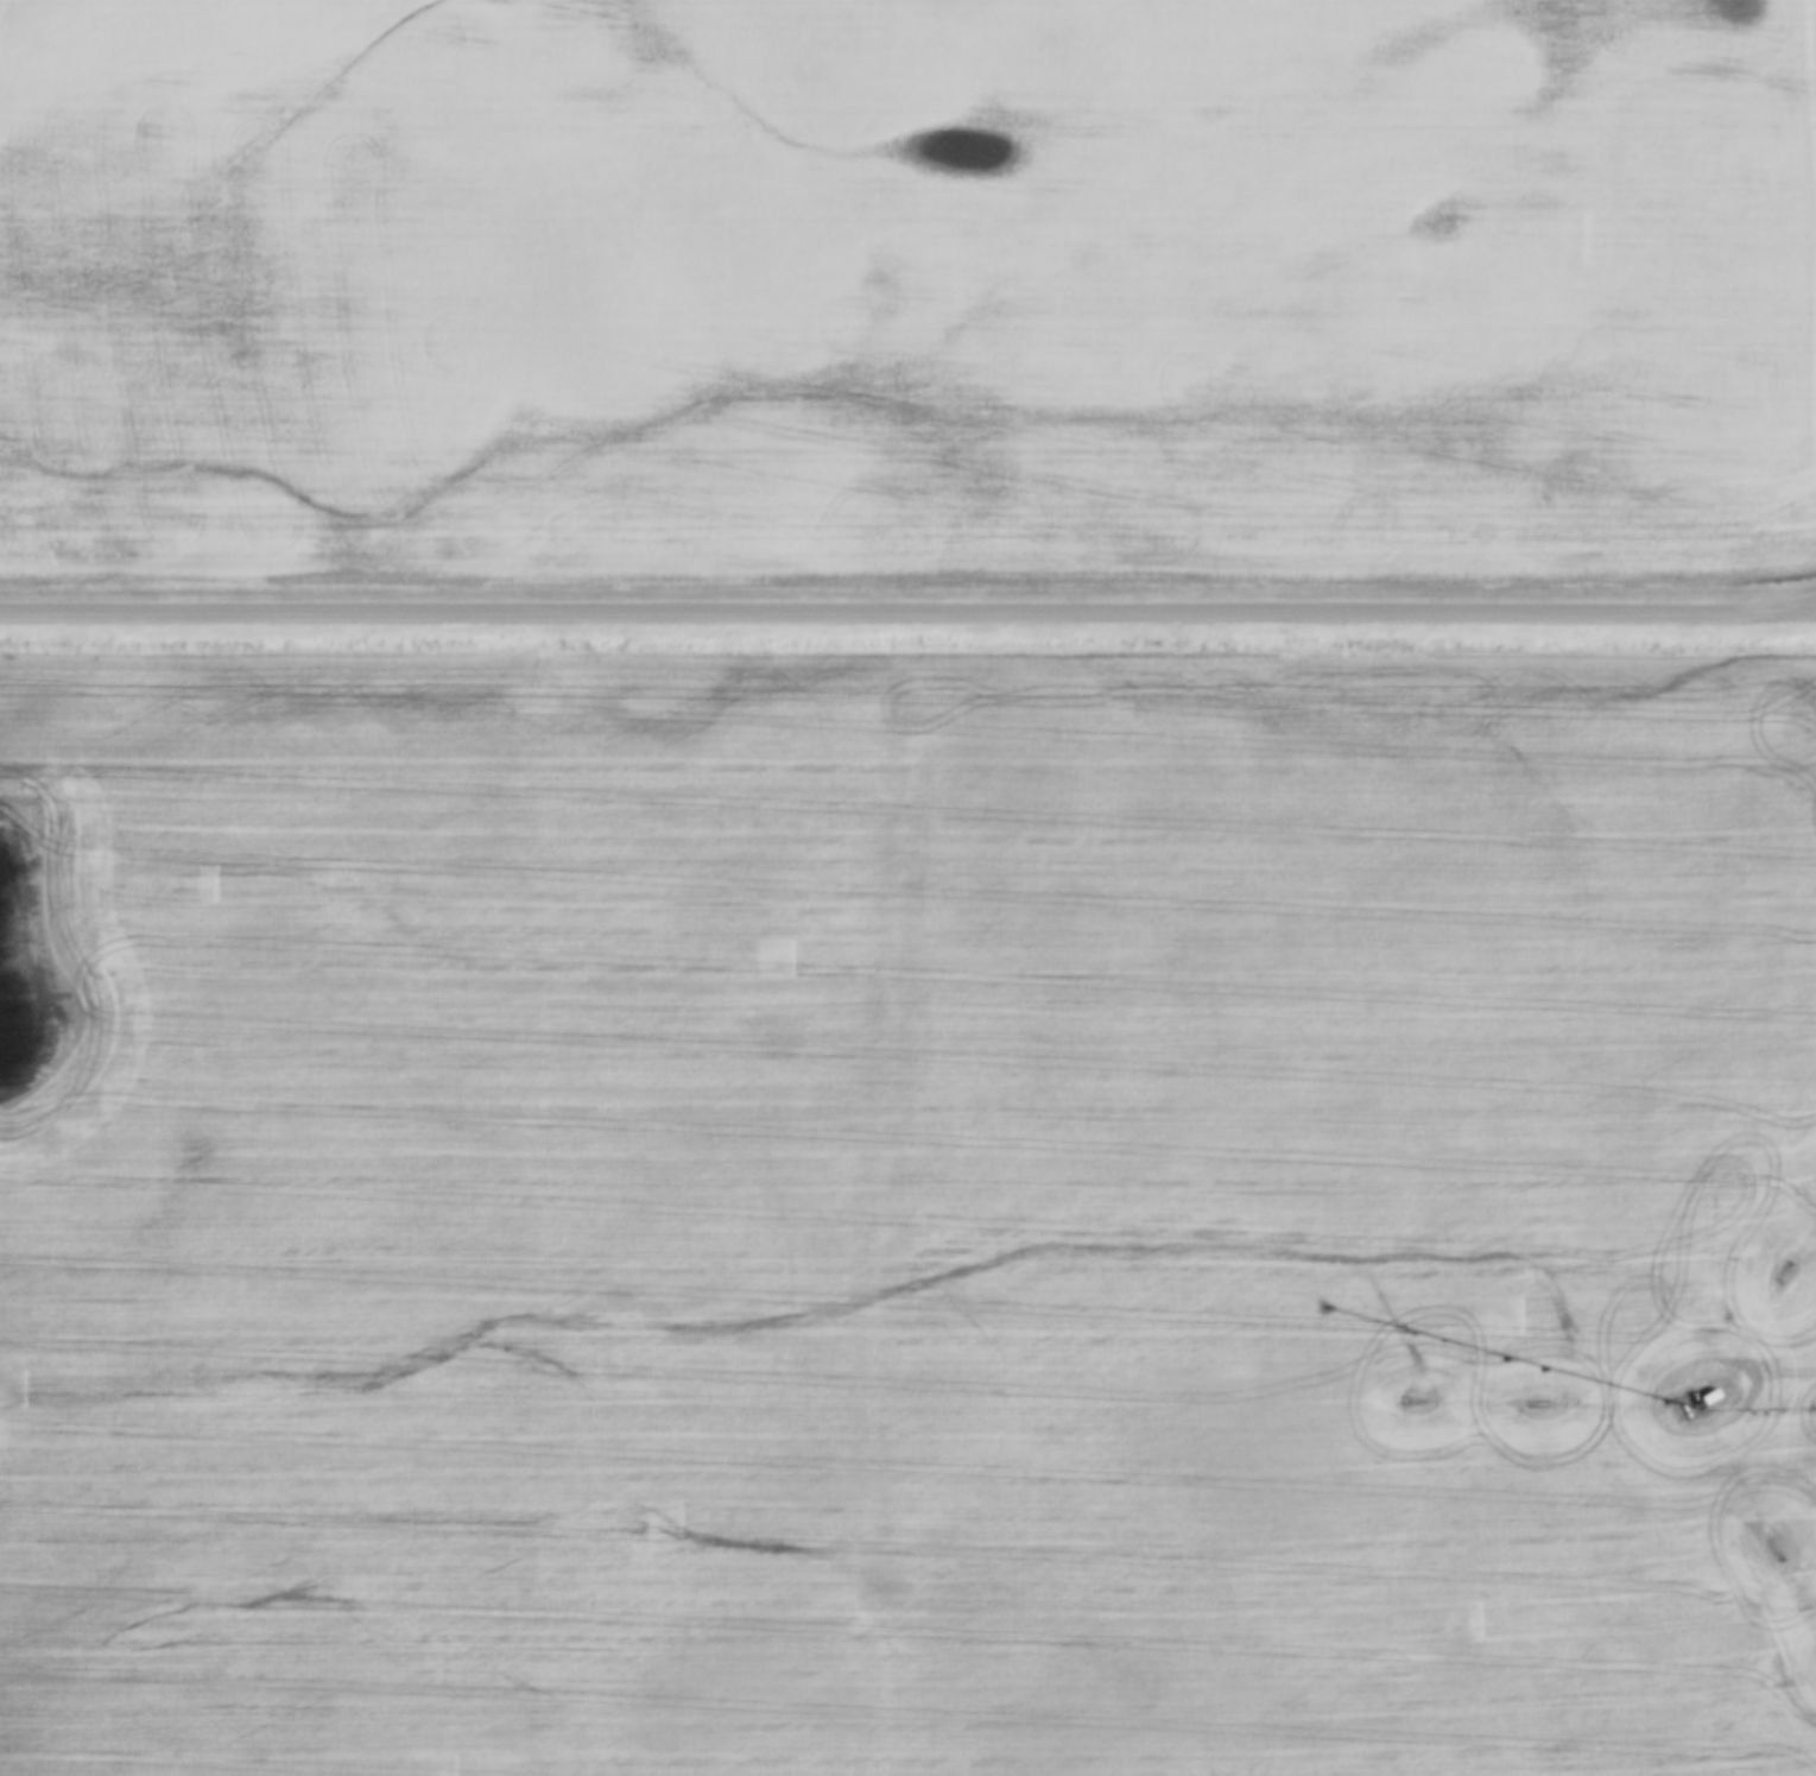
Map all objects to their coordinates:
road: (1799, 607)
road: (891, 609)
road: (1799, 612)
building: (1708, 1398)

